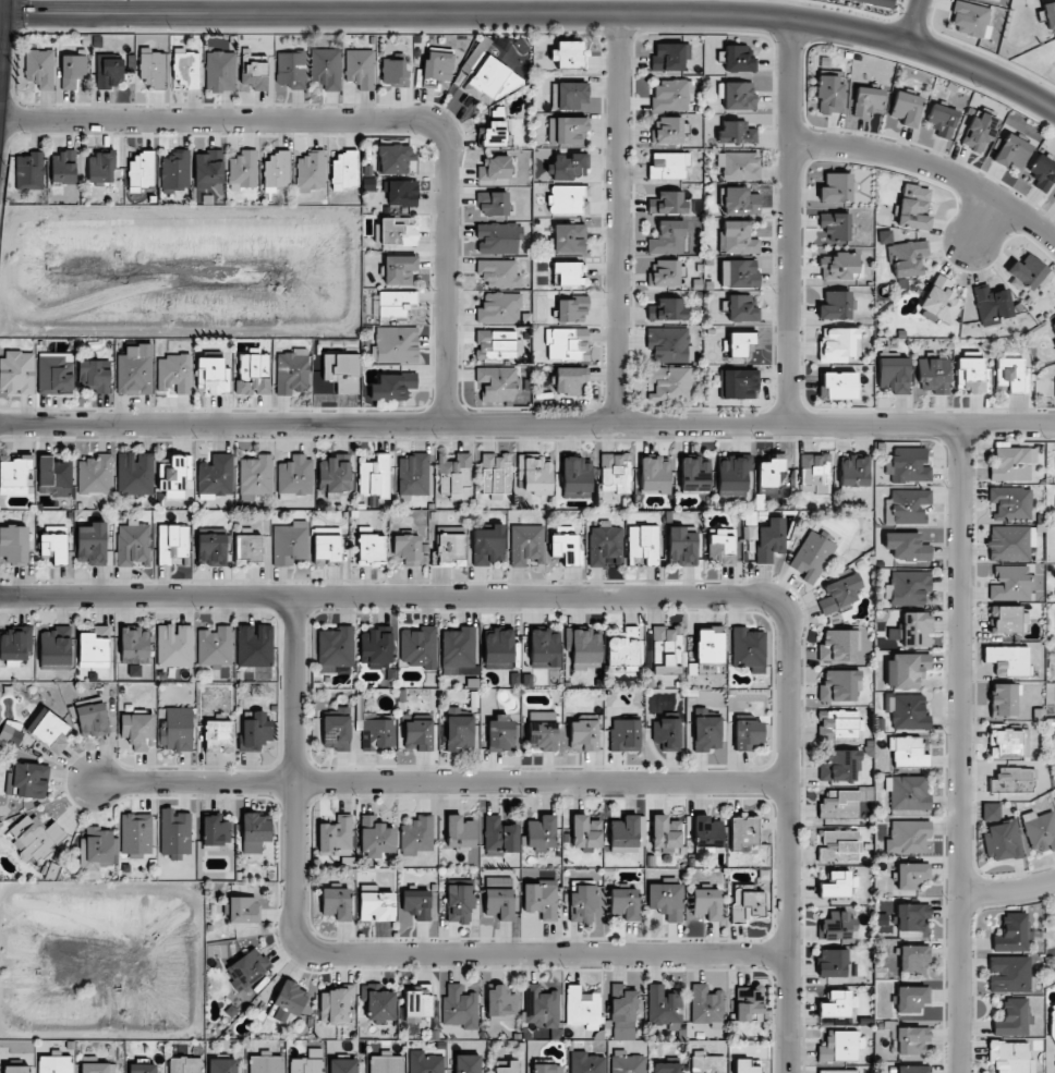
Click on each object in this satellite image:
building: (877, 2)
road: (536, 13)
building: (1050, 14)
building: (970, 20)
road: (909, 22)
building: (568, 54)
building: (669, 57)
building: (738, 58)
building: (438, 66)
building: (40, 68)
building: (153, 68)
building: (326, 68)
building: (185, 69)
building: (291, 69)
building: (360, 69)
building: (72, 70)
building: (254, 70)
building: (220, 71)
building: (108, 72)
building: (393, 73)
building: (486, 80)
building: (829, 94)
building: (568, 95)
building: (670, 96)
building: (866, 101)
building: (906, 108)
road: (367, 120)
building: (942, 120)
building: (566, 130)
building: (667, 131)
building: (979, 131)
building: (736, 133)
building: (493, 134)
building: (1011, 151)
building: (396, 159)
building: (667, 164)
building: (739, 166)
building: (62, 167)
building: (569, 167)
building: (494, 168)
road: (930, 168)
building: (99, 169)
building: (207, 169)
building: (343, 169)
building: (175, 170)
building: (243, 170)
building: (29, 171)
building: (141, 171)
building: (277, 171)
building: (311, 171)
building: (1042, 172)
building: (836, 187)
building: (402, 193)
building: (567, 200)
building: (740, 202)
building: (493, 203)
building: (667, 203)
building: (913, 206)
road: (617, 218)
road: (979, 219)
road: (789, 221)
building: (835, 225)
building: (396, 231)
building: (885, 236)
building: (498, 237)
building: (568, 237)
building: (667, 237)
building: (737, 237)
building: (908, 258)
building: (840, 266)
building: (399, 269)
building: (1027, 271)
building: (664, 272)
building: (498, 273)
building: (568, 273)
building: (738, 273)
building: (941, 300)
building: (395, 303)
building: (992, 304)
building: (835, 305)
building: (499, 308)
building: (741, 308)
building: (572, 309)
building: (666, 309)
building: (1053, 327)
building: (741, 342)
building: (396, 344)
building: (496, 344)
building: (567, 344)
building: (669, 344)
building: (838, 344)
building: (134, 370)
building: (291, 371)
building: (16, 373)
building: (54, 373)
building: (173, 374)
building: (1011, 374)
building: (95, 375)
building: (213, 375)
building: (253, 375)
building: (893, 375)
building: (933, 375)
building: (972, 375)
building: (569, 379)
building: (497, 382)
building: (669, 383)
building: (739, 383)
building: (839, 385)
building: (391, 387)
road: (527, 423)
building: (1010, 464)
building: (907, 465)
building: (853, 471)
building: (134, 473)
building: (616, 473)
building: (769, 473)
building: (814, 473)
building: (536, 474)
building: (694, 474)
building: (14, 475)
building: (96, 475)
building: (174, 475)
building: (256, 475)
building: (334, 475)
building: (496, 475)
building: (655, 475)
building: (732, 475)
building: (53, 476)
building: (216, 476)
building: (454, 476)
building: (295, 477)
building: (375, 477)
building: (412, 477)
building: (575, 477)
building: (1010, 503)
building: (907, 507)
building: (769, 539)
building: (290, 542)
building: (1010, 542)
building: (14, 544)
building: (92, 544)
building: (172, 544)
building: (54, 545)
building: (133, 545)
building: (487, 545)
building: (526, 545)
building: (643, 545)
building: (605, 546)
building: (681, 546)
building: (721, 546)
building: (247, 547)
building: (326, 547)
building: (906, 547)
building: (371, 549)
building: (407, 549)
building: (566, 549)
building: (450, 550)
building: (812, 556)
building: (1010, 583)
building: (908, 587)
road: (627, 590)
building: (839, 593)
building: (1008, 620)
building: (915, 630)
building: (14, 644)
building: (134, 645)
building: (254, 645)
building: (708, 645)
building: (839, 645)
building: (174, 646)
building: (375, 646)
building: (54, 647)
building: (94, 647)
building: (215, 647)
building: (419, 647)
building: (335, 648)
building: (544, 648)
building: (584, 648)
building: (498, 649)
building: (623, 649)
building: (748, 649)
building: (667, 650)
building: (459, 651)
building: (1008, 660)
building: (906, 670)
building: (134, 671)
building: (839, 685)
building: (1004, 700)
building: (908, 712)
building: (90, 718)
building: (840, 724)
building: (175, 728)
building: (542, 730)
building: (138, 731)
building: (255, 731)
building: (336, 732)
building: (459, 733)
building: (499, 733)
building: (666, 733)
building: (747, 733)
building: (417, 734)
building: (583, 734)
building: (10, 735)
building: (217, 735)
building: (624, 735)
building: (1008, 742)
road: (959, 749)
building: (907, 753)
building: (839, 765)
building: (29, 780)
building: (1014, 780)
road: (440, 781)
building: (907, 793)
building: (839, 804)
building: (991, 812)
building: (215, 830)
building: (1040, 830)
building: (254, 831)
building: (585, 831)
building: (628, 831)
building: (459, 832)
building: (541, 832)
building: (706, 832)
building: (742, 832)
building: (135, 833)
building: (174, 833)
building: (666, 833)
building: (336, 836)
building: (416, 836)
building: (375, 837)
building: (499, 837)
building: (907, 837)
building: (33, 838)
building: (1002, 841)
building: (838, 845)
building: (97, 849)
building: (911, 875)
building: (837, 885)
road: (1007, 889)
building: (498, 898)
building: (541, 899)
building: (666, 900)
building: (582, 902)
building: (336, 903)
building: (416, 903)
building: (459, 903)
building: (624, 903)
building: (706, 903)
building: (747, 903)
building: (376, 906)
building: (244, 910)
building: (911, 917)
building: (837, 926)
building: (1012, 934)
road: (366, 948)
building: (912, 958)
building: (833, 963)
building: (247, 968)
building: (1008, 974)
building: (911, 998)
building: (288, 1000)
building: (336, 1003)
building: (379, 1003)
building: (417, 1003)
building: (500, 1003)
building: (749, 1003)
building: (837, 1004)
building: (541, 1005)
building: (664, 1005)
building: (706, 1005)
building: (459, 1008)
building: (582, 1008)
building: (623, 1013)
building: (1051, 1015)
building: (1012, 1017)
building: (911, 1039)
building: (839, 1047)
building: (1008, 1057)
building: (307, 1062)
building: (425, 1062)
building: (586, 1062)
building: (627, 1062)
building: (706, 1062)
building: (266, 1063)
building: (385, 1063)
building: (466, 1063)
building: (54, 1064)
building: (185, 1064)
building: (222, 1065)
building: (342, 1065)
building: (506, 1065)
building: (747, 1065)
building: (97, 1068)
building: (143, 1068)
building: (547, 1068)
building: (667, 1068)
building: (16, 1069)
building: (912, 1069)
building: (838, 1071)

